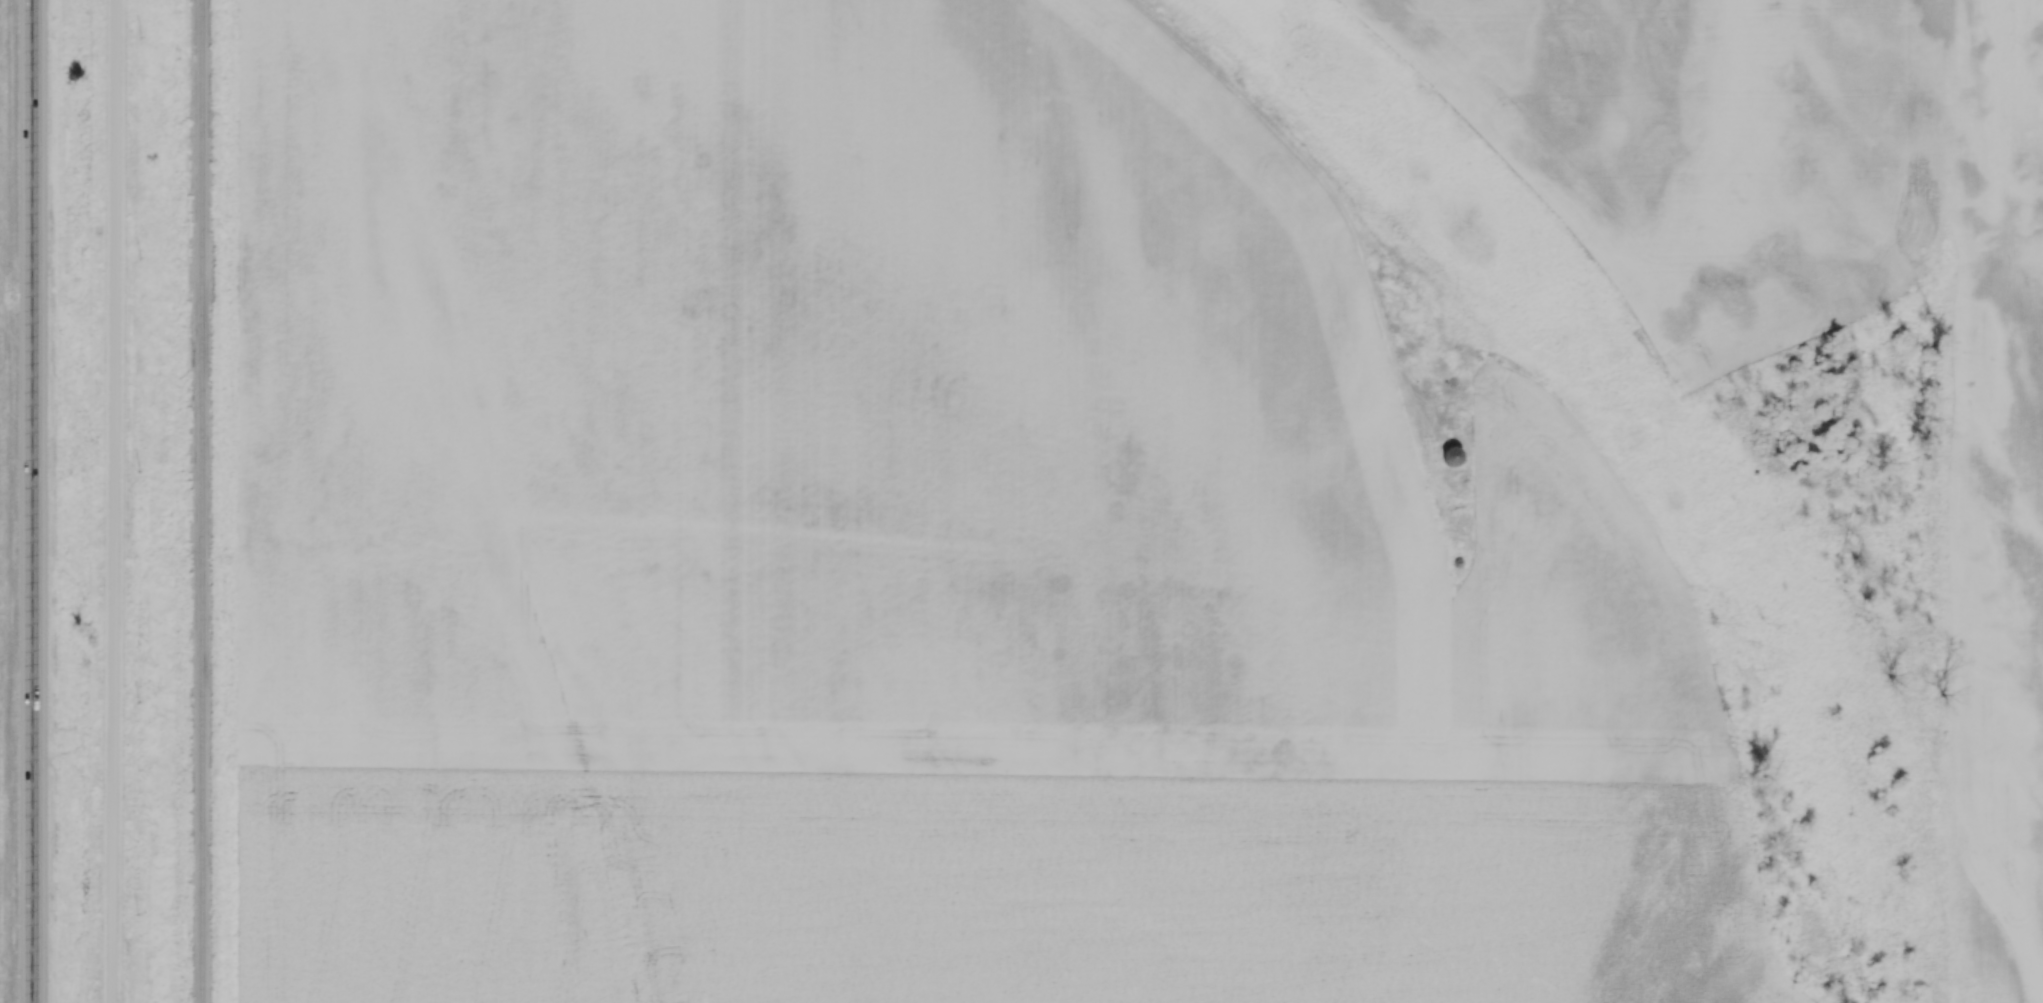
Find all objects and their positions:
road: (31, 501)
road: (114, 501)
railway: (203, 501)

